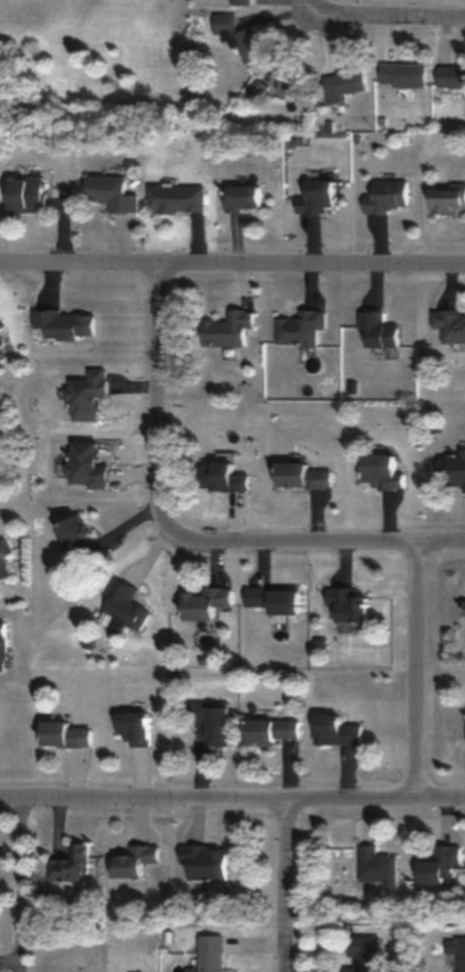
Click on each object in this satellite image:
building: (241, 1)
road: (323, 11)
road: (401, 23)
building: (248, 47)
building: (403, 74)
building: (450, 76)
building: (291, 83)
building: (344, 84)
building: (25, 192)
building: (109, 192)
building: (241, 195)
building: (316, 195)
building: (385, 195)
building: (444, 197)
building: (175, 198)
road: (232, 267)
building: (64, 324)
building: (448, 325)
building: (226, 328)
building: (297, 328)
building: (376, 330)
building: (1, 336)
building: (85, 394)
building: (84, 465)
building: (450, 468)
building: (379, 471)
building: (301, 475)
building: (220, 476)
building: (74, 537)
road: (182, 539)
building: (3, 569)
building: (273, 598)
building: (462, 602)
building: (203, 604)
building: (345, 604)
building: (121, 607)
building: (21, 631)
building: (2, 645)
road: (416, 674)
building: (211, 722)
building: (130, 727)
building: (268, 730)
building: (333, 730)
building: (61, 734)
road: (144, 802)
road: (376, 802)
building: (130, 860)
building: (203, 860)
building: (435, 863)
building: (71, 864)
building: (374, 865)
road: (21, 886)
road: (287, 887)
building: (209, 952)
building: (362, 952)
building: (460, 953)

